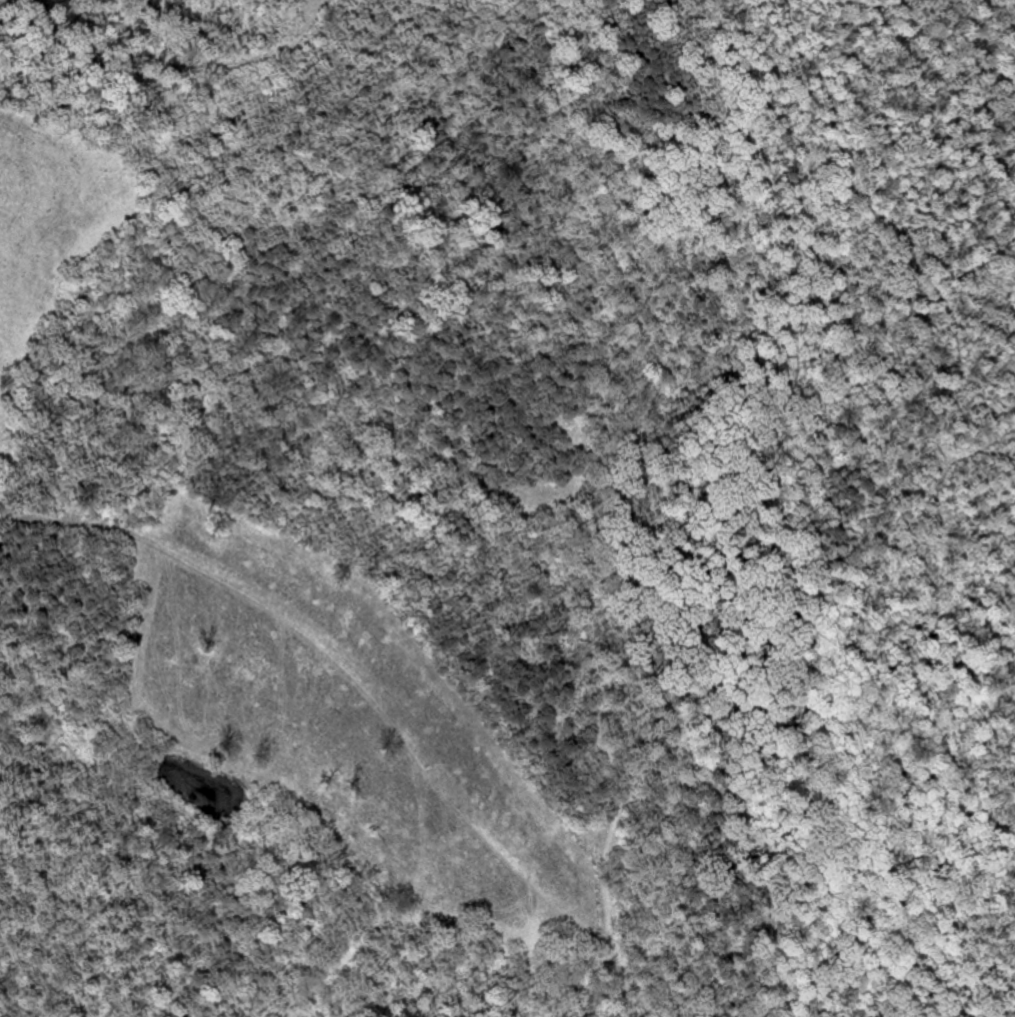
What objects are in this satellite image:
road: (385, 696)

